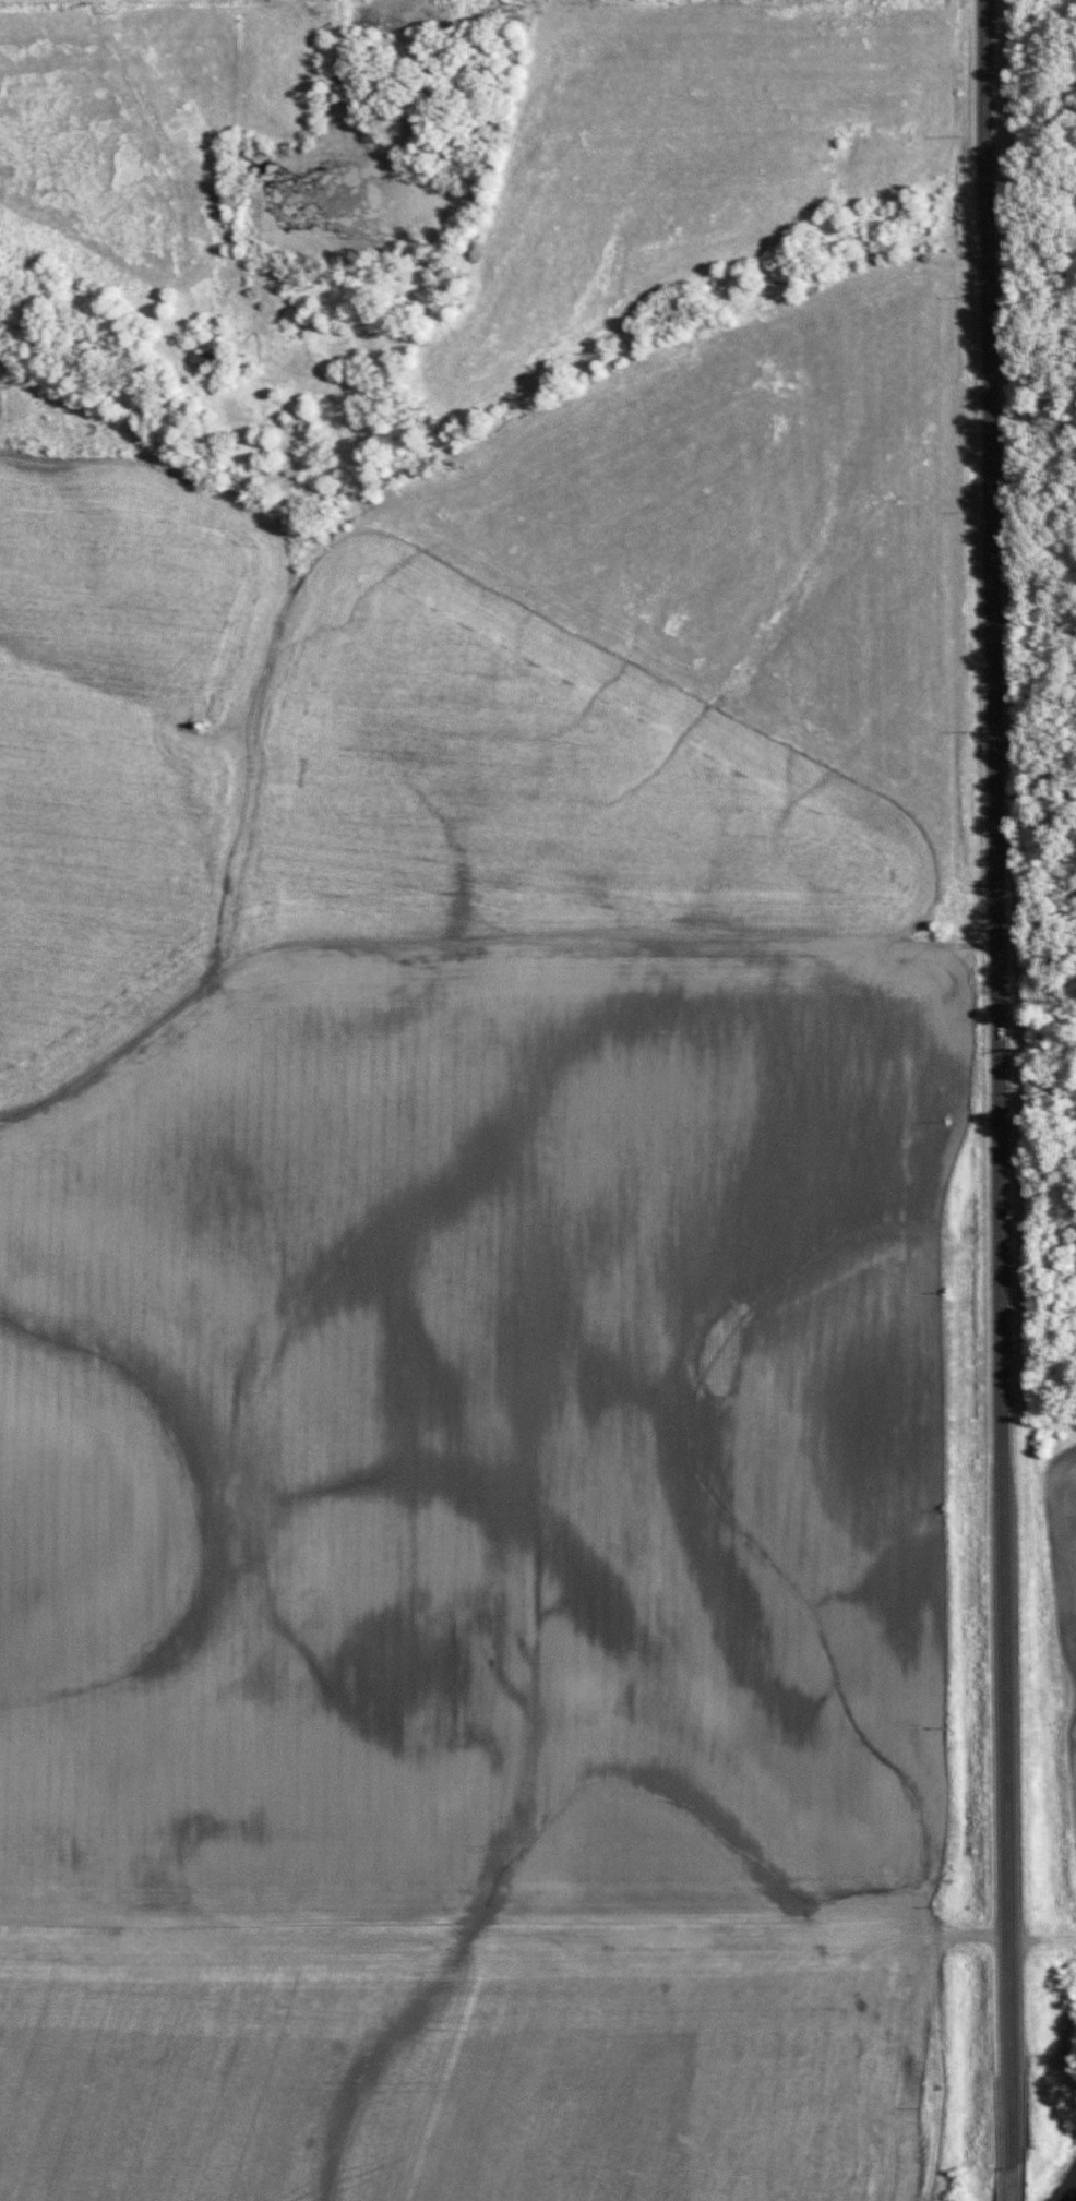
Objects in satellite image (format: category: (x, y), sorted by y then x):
road: (997, 1100)
crop: (1063, 1587)
crop: (461, 2058)

